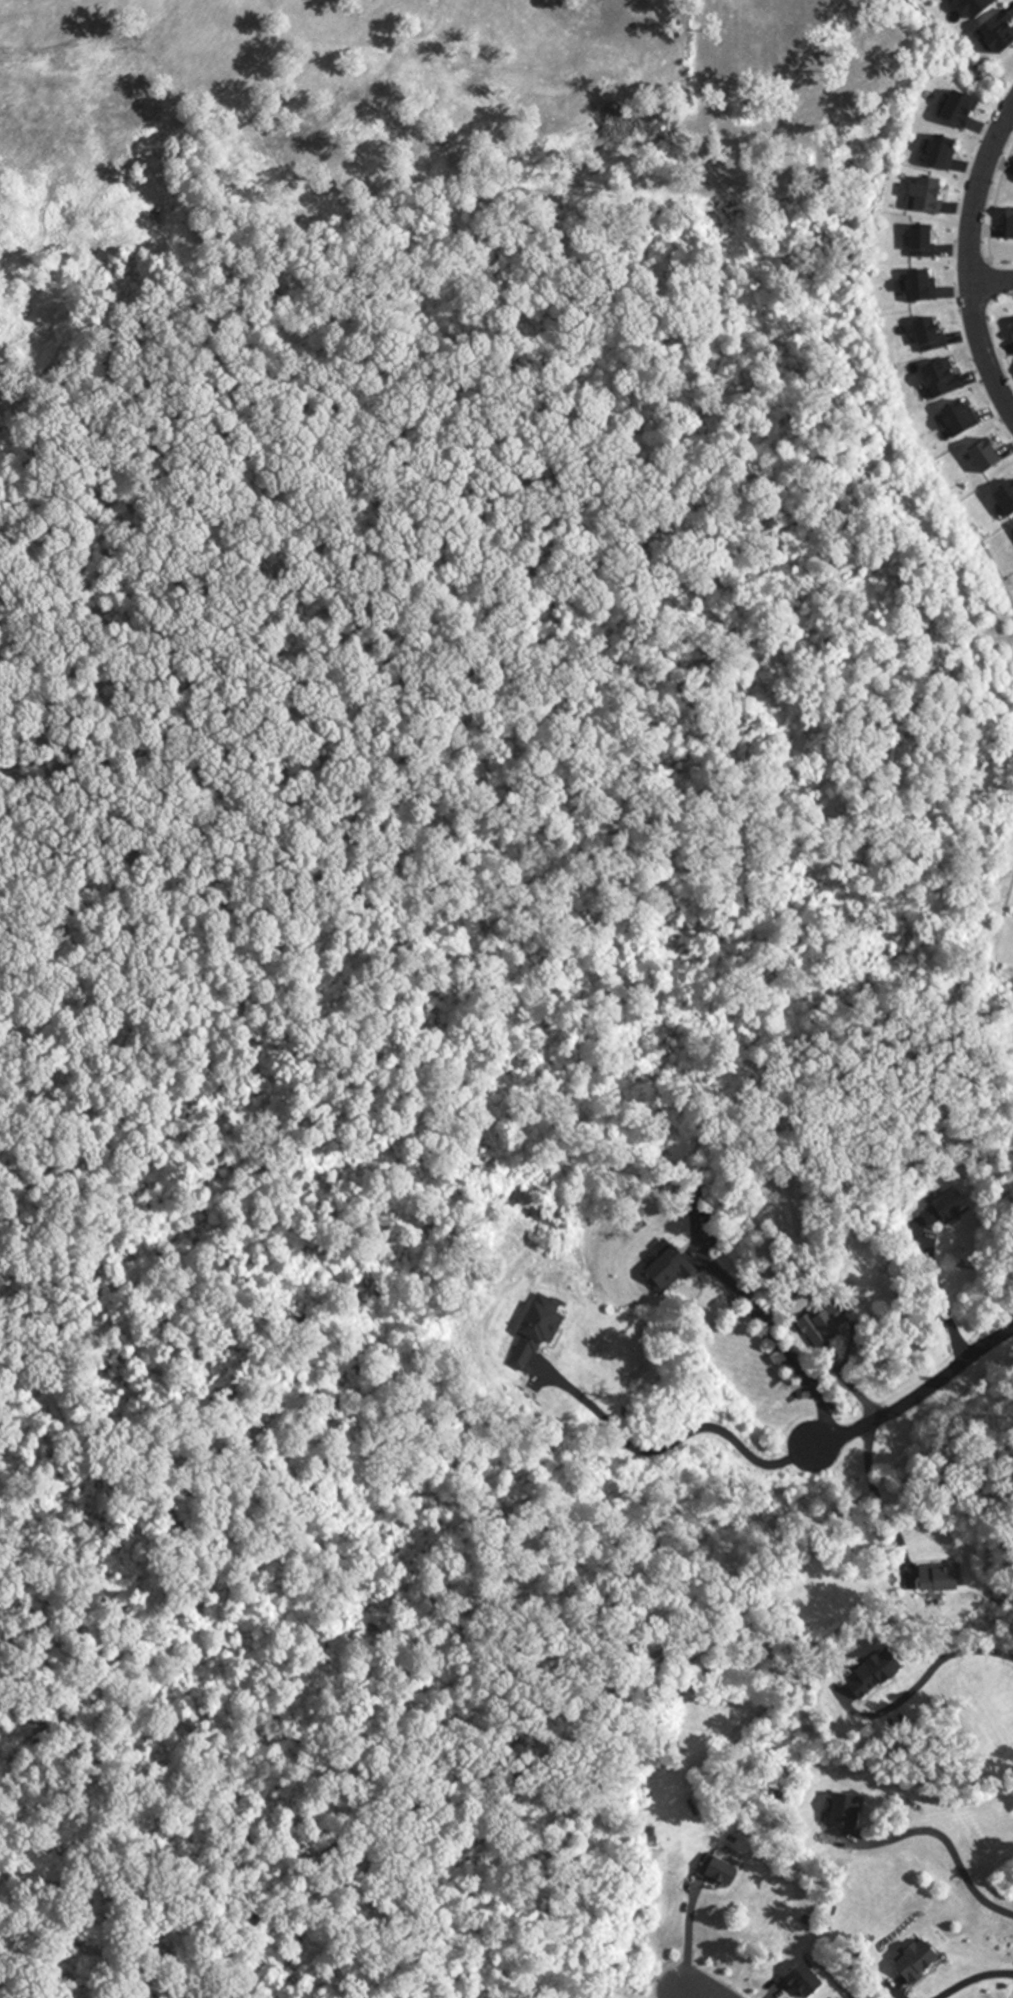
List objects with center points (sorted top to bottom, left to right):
road: (995, 201)
road: (969, 259)
road: (991, 280)
road: (991, 282)
road: (997, 329)
building: (945, 1211)
building: (668, 1272)
road: (938, 1294)
building: (822, 1325)
road: (779, 1343)
road: (917, 1394)
road: (674, 1439)
road: (876, 1501)
building: (874, 1674)
road: (922, 1677)
building: (845, 1812)
road: (949, 1847)
building: (718, 1873)
road: (688, 1935)
building: (917, 1963)
road: (977, 1980)
building: (804, 1982)
road: (705, 1991)
road: (682, 1994)

